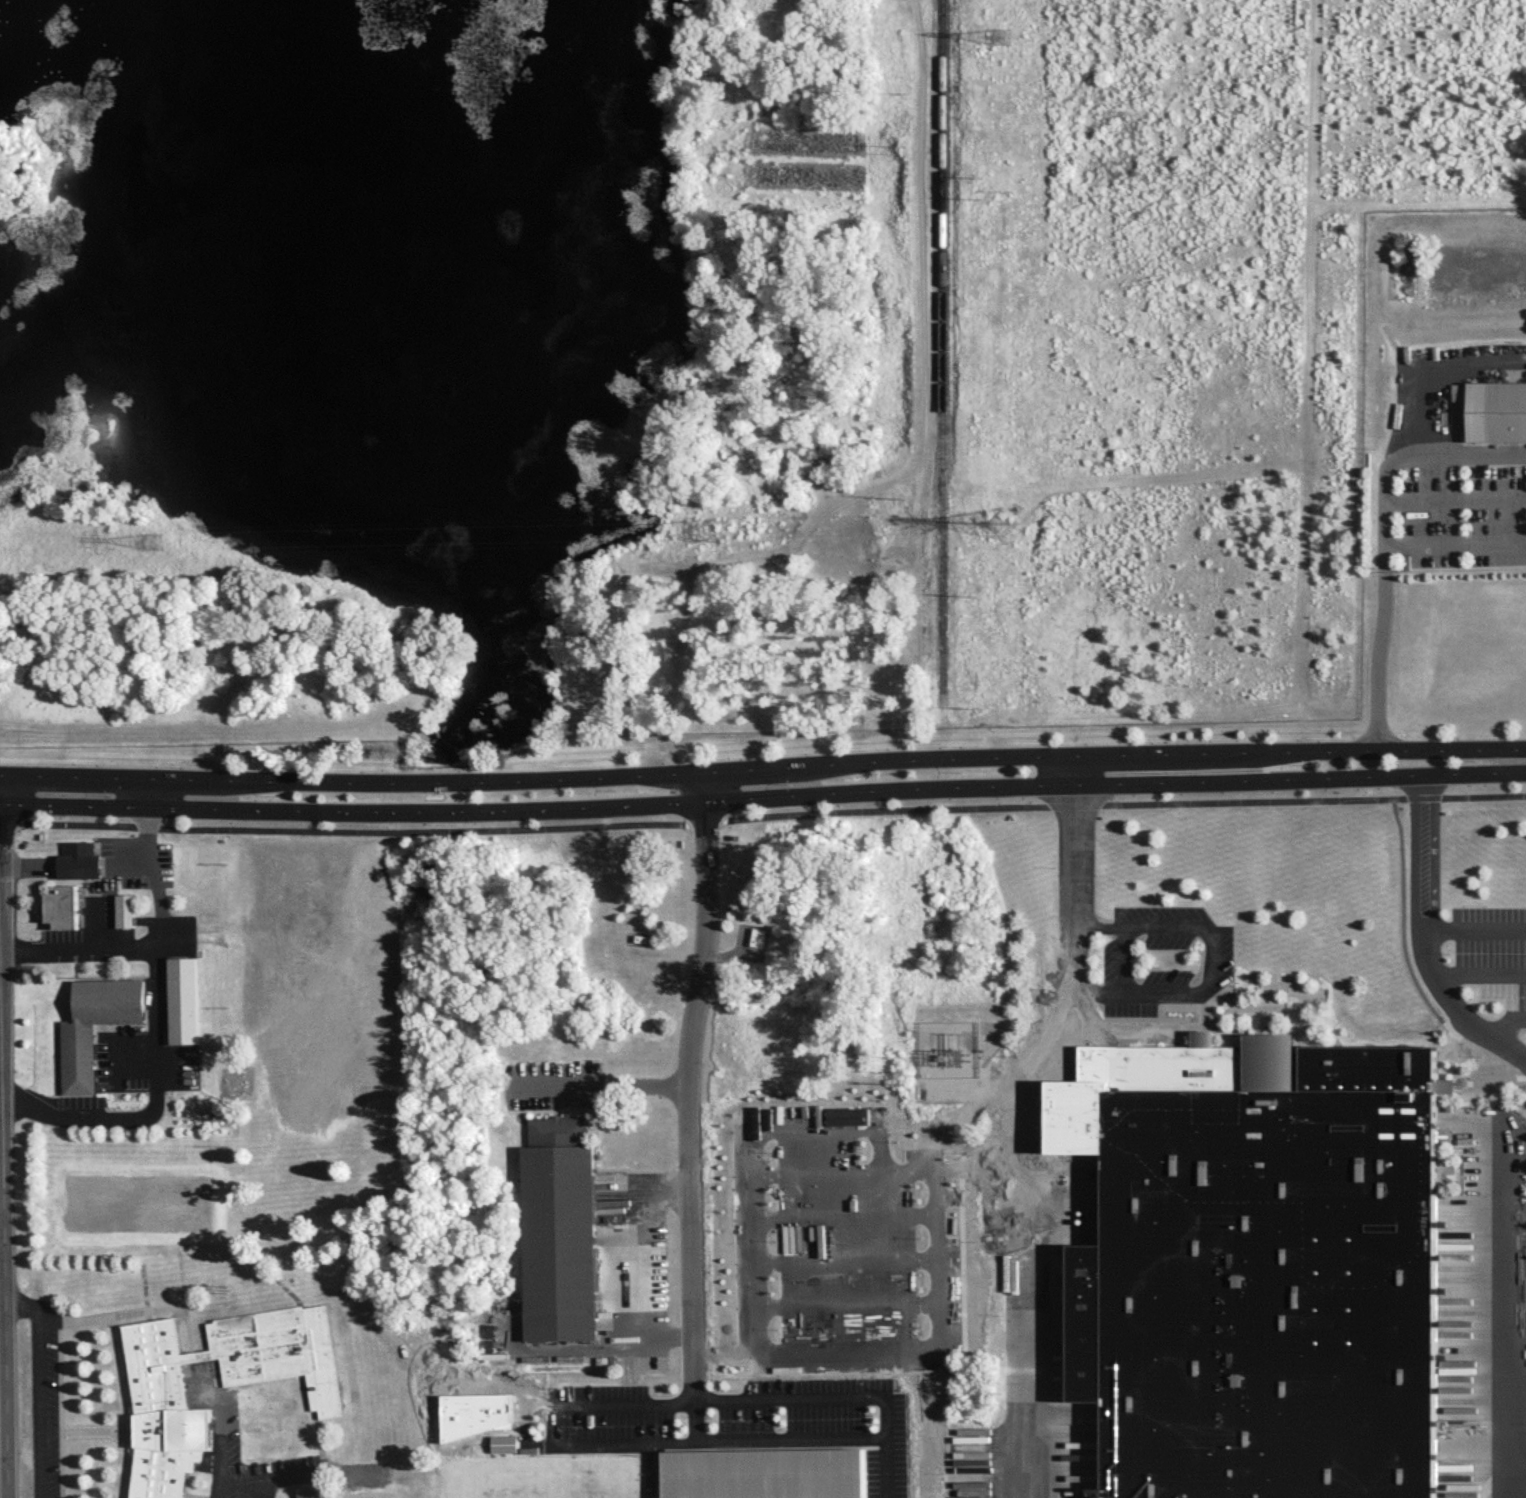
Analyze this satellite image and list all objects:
power tower: (1001, 37)
power tower: (992, 194)
railway: (942, 347)
building: (1495, 411)
road: (1455, 504)
road: (1385, 509)
power tower: (999, 524)
power tower: (704, 527)
power tower: (151, 538)
road: (1379, 652)
road: (183, 726)
road: (762, 770)
road: (1074, 772)
road: (1300, 780)
road: (706, 790)
road: (890, 793)
road: (353, 816)
road: (762, 820)
building: (80, 860)
road: (127, 862)
road: (27, 863)
parking lot: (119, 890)
building: (62, 907)
building: (125, 910)
road: (93, 919)
road: (1092, 922)
road: (1476, 928)
parking lot: (59, 934)
building: (758, 937)
road: (1429, 938)
road: (98, 943)
road: (20, 946)
parking lot: (1162, 957)
road: (1123, 958)
road: (1210, 961)
road: (1408, 968)
road: (1483, 972)
road: (1083, 990)
building: (182, 1000)
road: (1507, 1019)
road: (155, 1034)
power substation: (947, 1046)
building: (77, 1058)
parking lot: (141, 1060)
road: (977, 1081)
road: (599, 1085)
road: (1480, 1086)
parking lot: (78, 1100)
road: (687, 1103)
road: (1025, 1139)
road: (3, 1152)
building: (559, 1230)
road: (630, 1271)
building: (1262, 1272)
road: (1515, 1320)
building: (628, 1370)
road: (36, 1388)
building: (160, 1397)
road: (839, 1397)
road: (59, 1413)
road: (694, 1419)
road: (97, 1431)
road: (602, 1439)
building: (504, 1443)
road: (219, 1446)
road: (1520, 1473)
building: (774, 1474)
road: (303, 1475)
road: (264, 1488)
building: (311, 1490)

